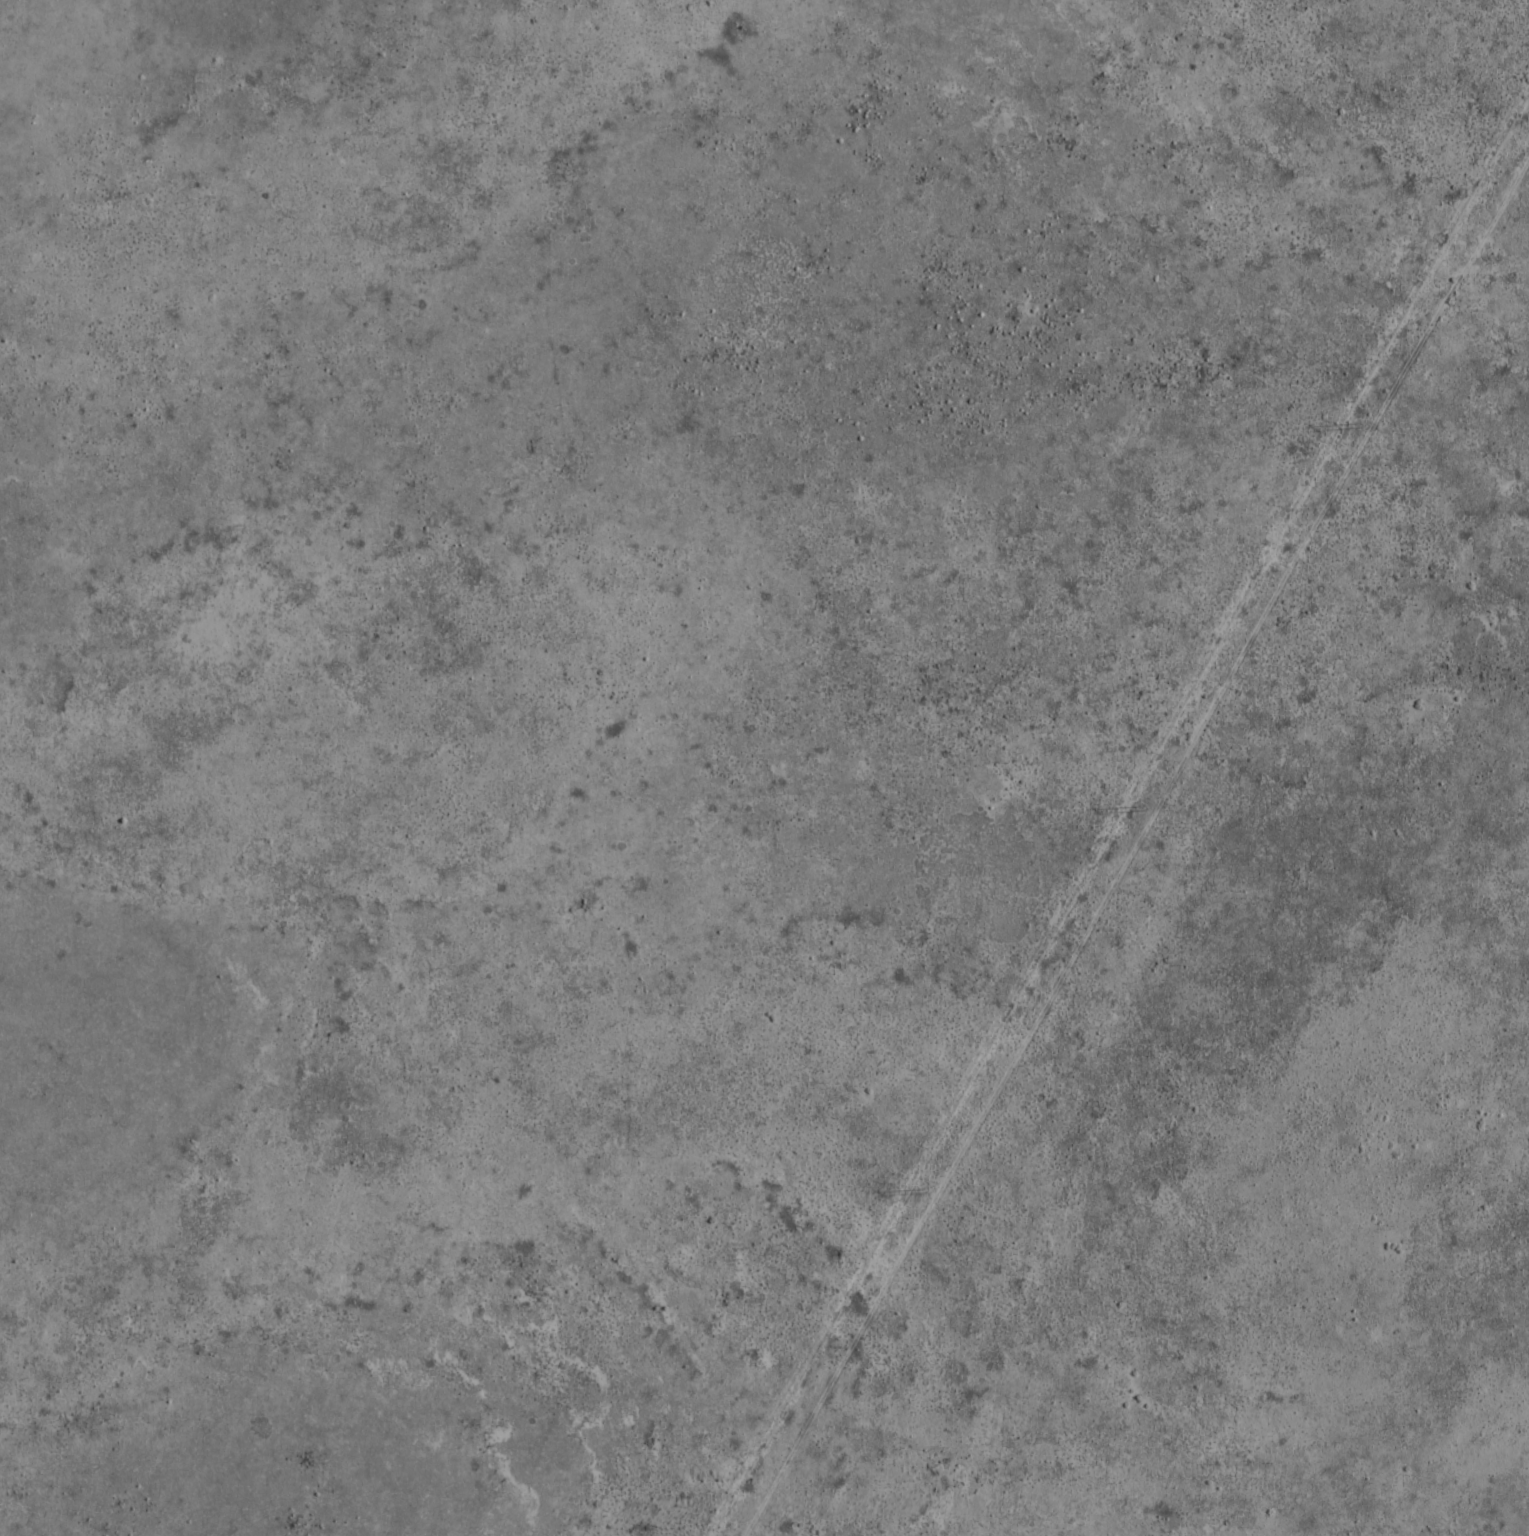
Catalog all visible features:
road: (1139, 848)

